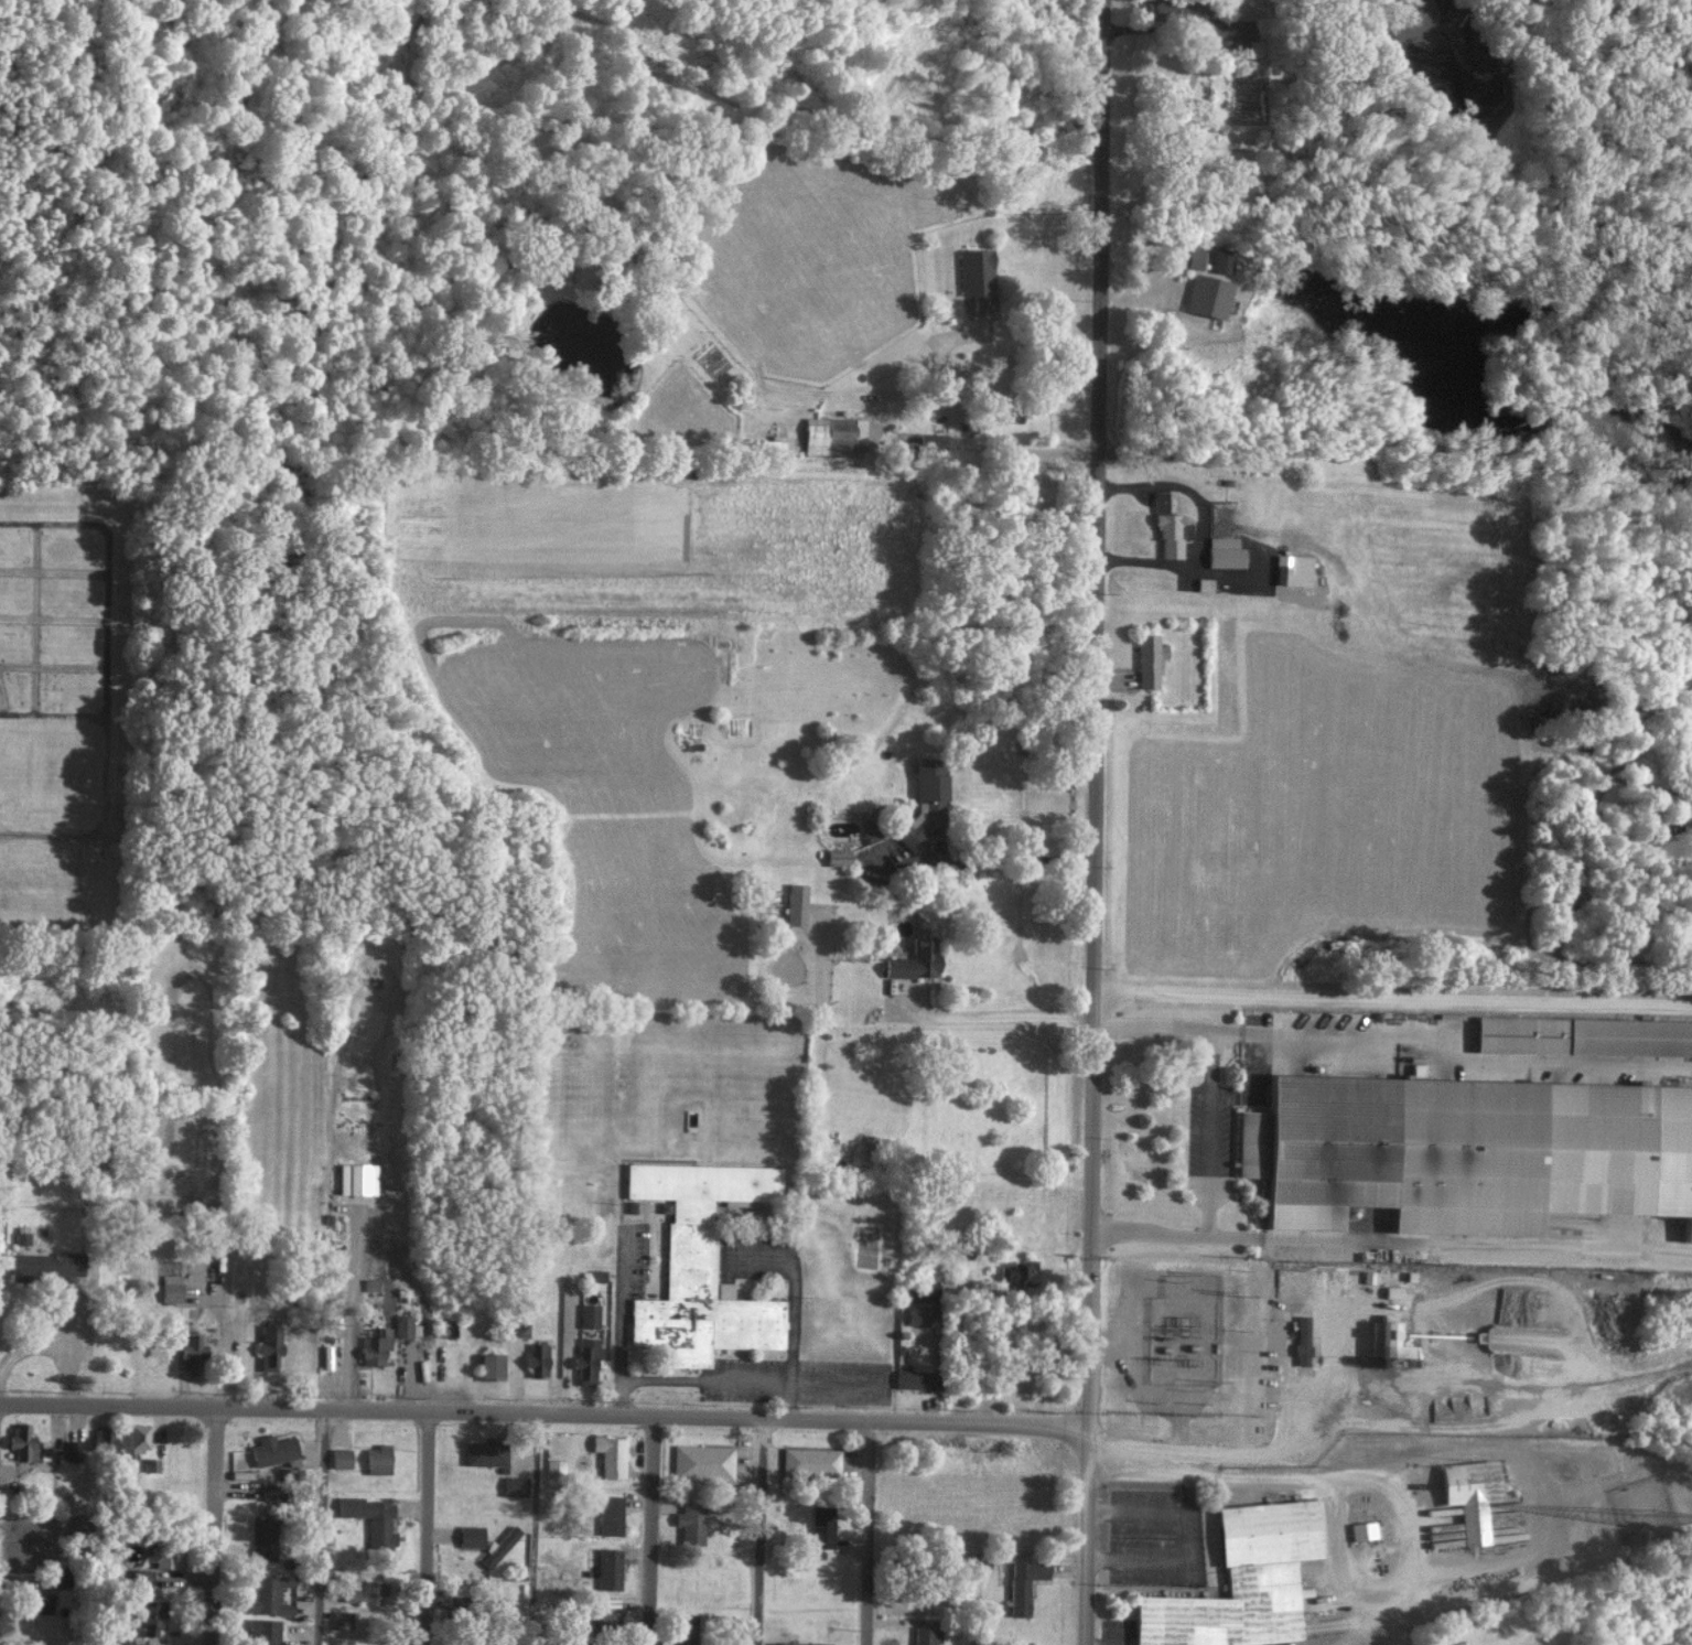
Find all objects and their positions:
building: (1175, 10)
building: (1227, 29)
building: (1252, 47)
building: (1221, 259)
building: (978, 278)
building: (1208, 295)
road: (1030, 344)
building: (833, 436)
building: (933, 441)
road: (993, 444)
building: (1162, 502)
building: (1172, 534)
building: (1225, 552)
building: (1293, 570)
building: (1205, 583)
building: (1149, 659)
park: (57, 674)
road: (106, 674)
road: (1093, 712)
road: (53, 713)
building: (926, 802)
building: (839, 857)
building: (796, 903)
building: (916, 959)
road: (1392, 1002)
road: (988, 1017)
road: (1151, 1030)
building: (1584, 1034)
road: (1449, 1051)
road: (1208, 1133)
building: (1468, 1150)
building: (357, 1178)
building: (21, 1235)
road: (1149, 1235)
road: (1448, 1243)
building: (46, 1264)
building: (701, 1264)
building: (1017, 1273)
building: (171, 1281)
building: (370, 1283)
building: (920, 1290)
building: (589, 1314)
building: (918, 1314)
building: (402, 1325)
building: (1303, 1338)
building: (1390, 1342)
building: (269, 1346)
building: (374, 1348)
building: (192, 1352)
building: (537, 1359)
building: (586, 1361)
building: (489, 1366)
building: (914, 1378)
road: (1286, 1400)
road: (542, 1408)
building: (139, 1437)
building: (104, 1438)
building: (22, 1441)
building: (73, 1450)
building: (272, 1450)
building: (486, 1452)
building: (611, 1454)
building: (341, 1458)
building: (379, 1459)
building: (810, 1461)
building: (702, 1462)
building: (554, 1467)
road: (1185, 1481)
building: (516, 1485)
building: (272, 1491)
building: (1473, 1494)
building: (610, 1515)
building: (371, 1517)
building: (691, 1522)
road: (216, 1524)
road: (326, 1525)
road: (427, 1525)
road: (535, 1526)
building: (821, 1526)
building: (1362, 1529)
road: (649, 1530)
road: (759, 1533)
road: (869, 1533)
building: (471, 1535)
road: (1085, 1535)
road: (1186, 1536)
building: (263, 1538)
building: (498, 1547)
building: (163, 1556)
building: (608, 1569)
building: (139, 1578)
building: (58, 1579)
building: (1242, 1581)
building: (1023, 1584)
building: (268, 1593)
building: (366, 1593)
building: (41, 1602)
building: (149, 1616)
building: (608, 1616)
building: (341, 1620)
building: (263, 1632)
building: (926, 1635)
building: (801, 1643)

